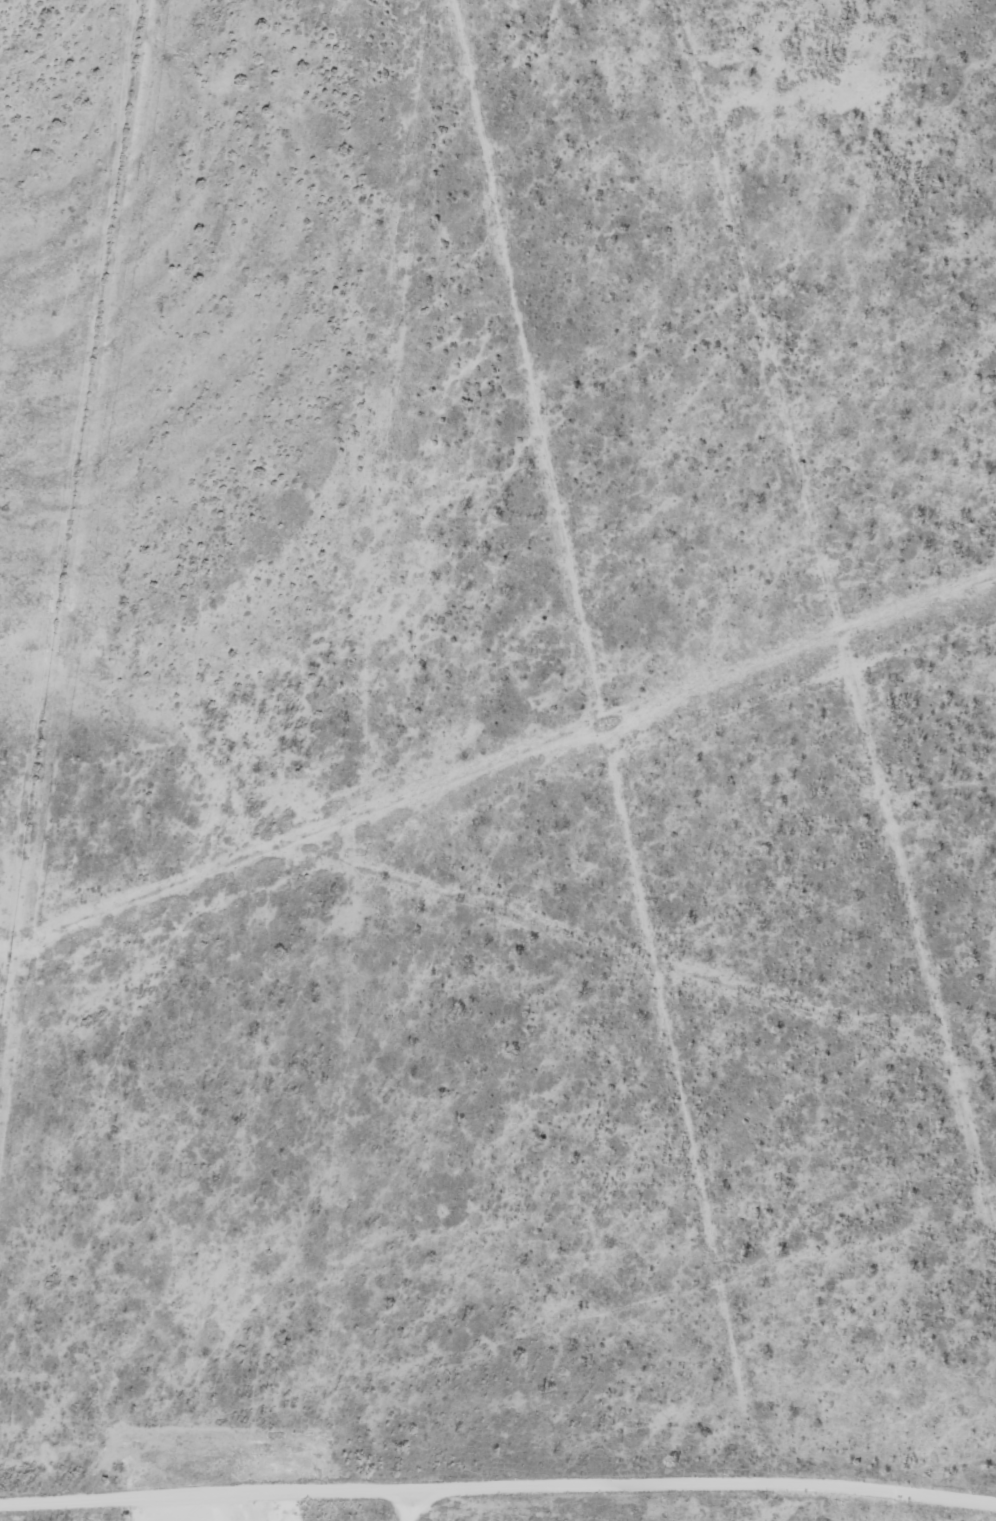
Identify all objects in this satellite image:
road: (866, 648)
road: (658, 970)

